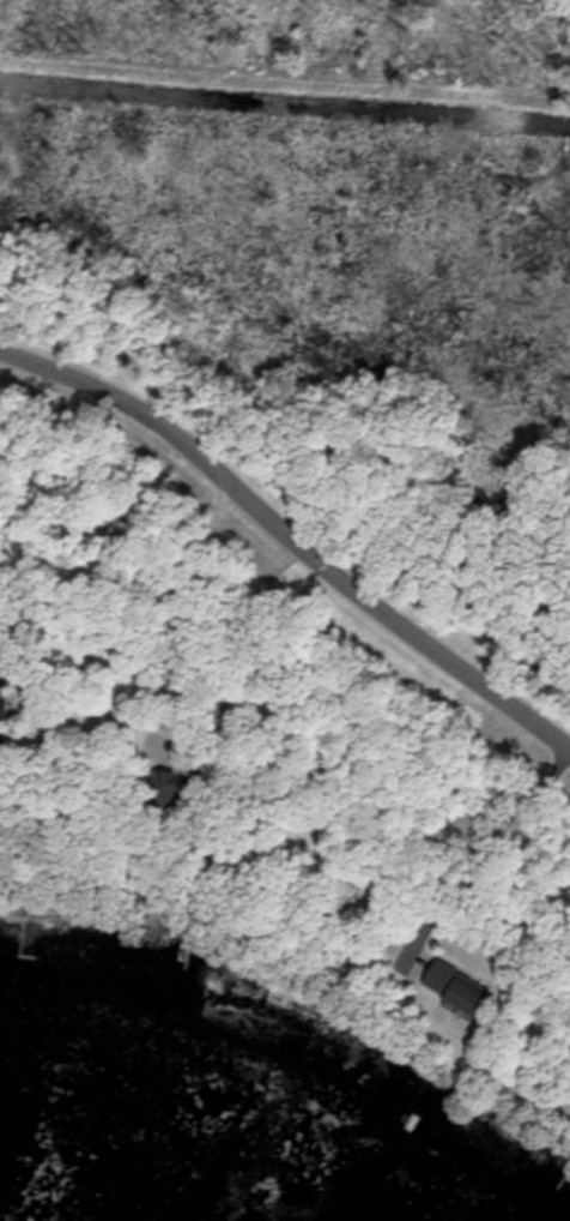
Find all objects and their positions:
road: (289, 541)
building: (0, 700)
building: (169, 786)
building: (453, 985)

